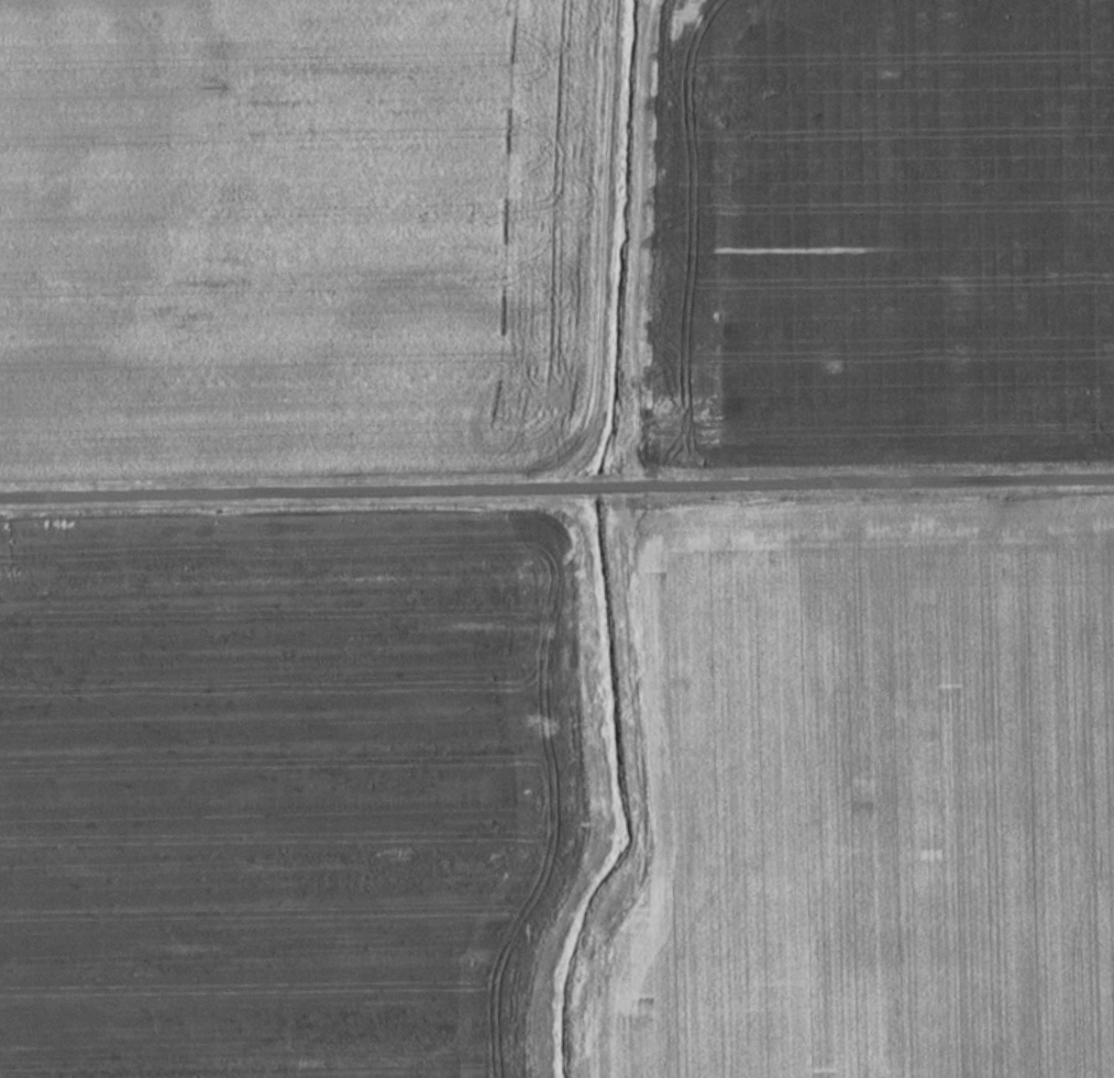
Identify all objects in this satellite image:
crop: (283, 219)
crop: (883, 235)
road: (556, 488)
crop: (282, 791)
crop: (871, 799)

